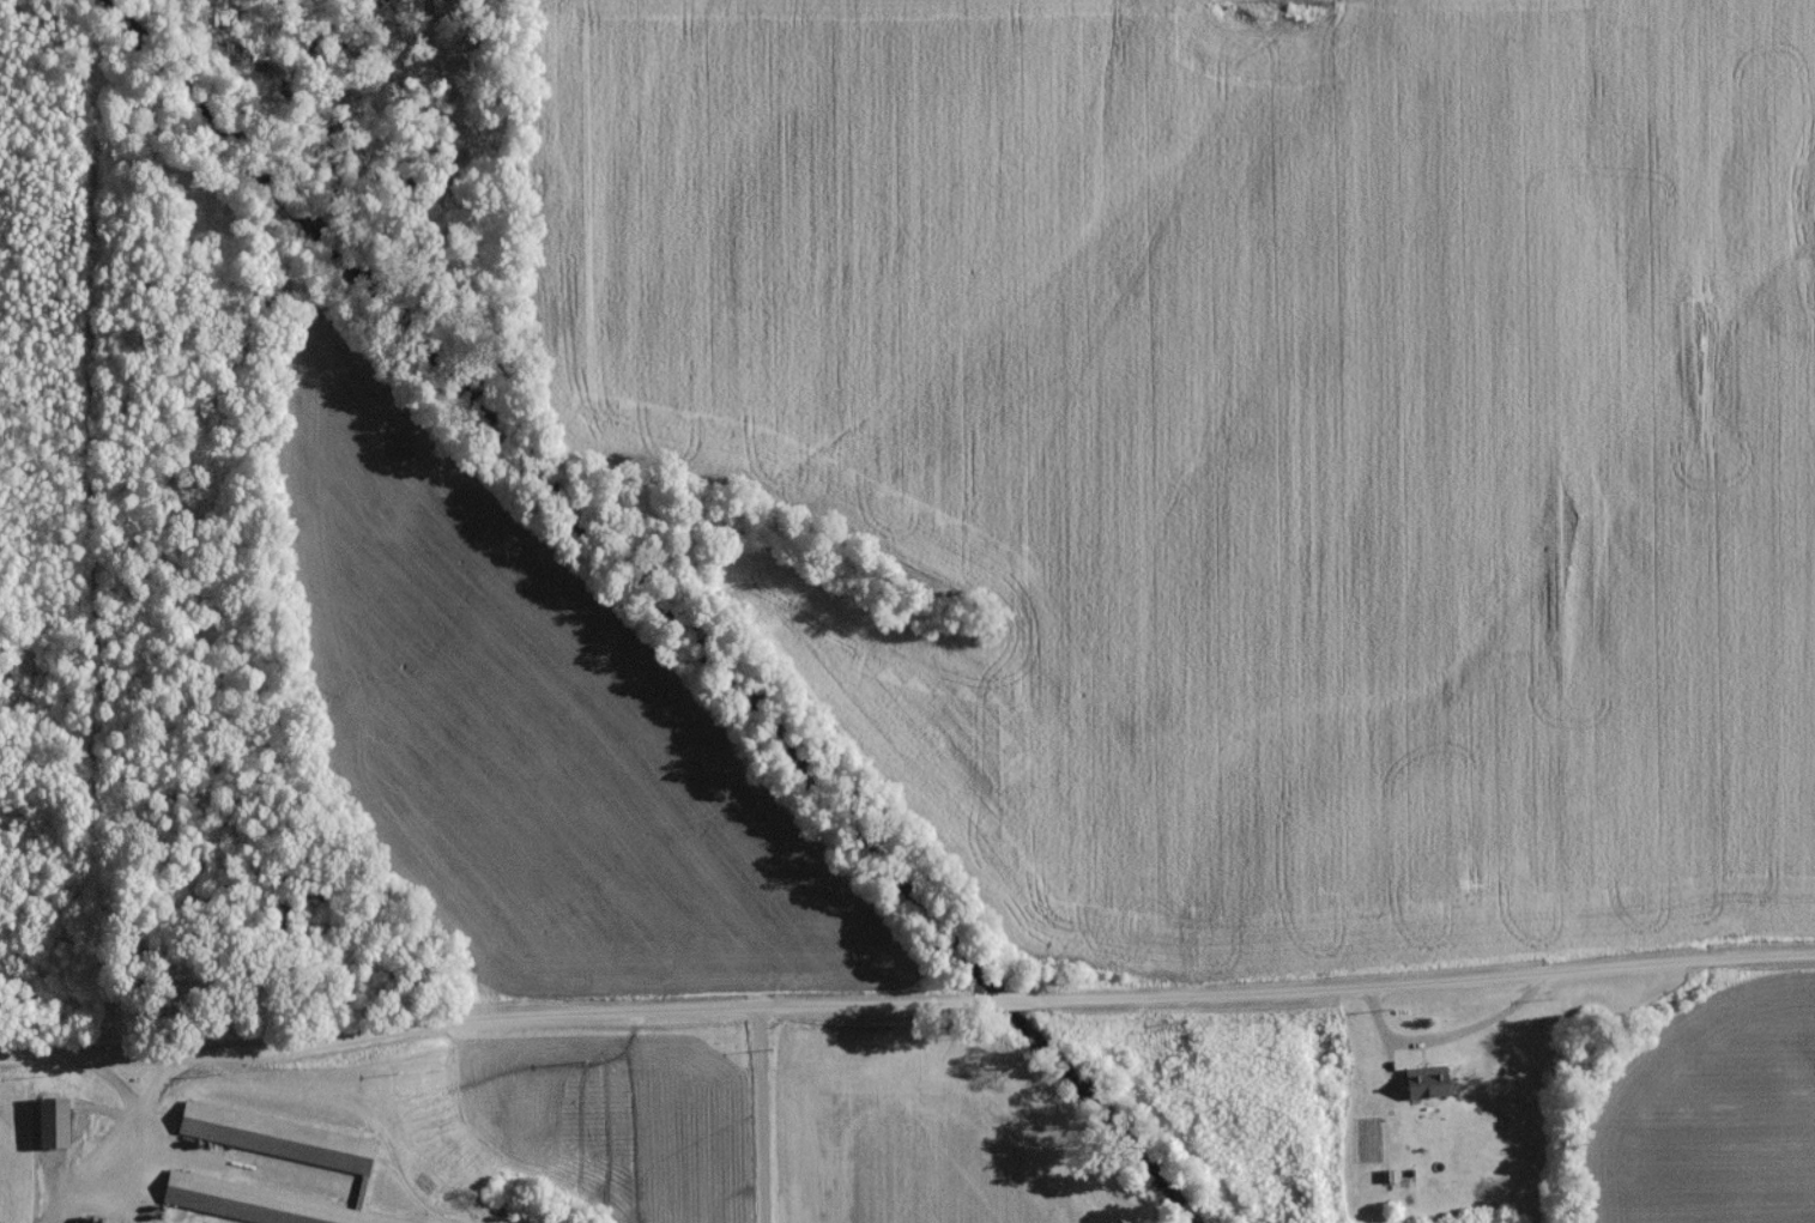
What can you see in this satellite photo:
road: (906, 1003)
road: (107, 1084)
building: (1427, 1088)
road: (755, 1115)
road: (132, 1120)
building: (56, 1127)
building: (319, 1160)
building: (1405, 1182)

